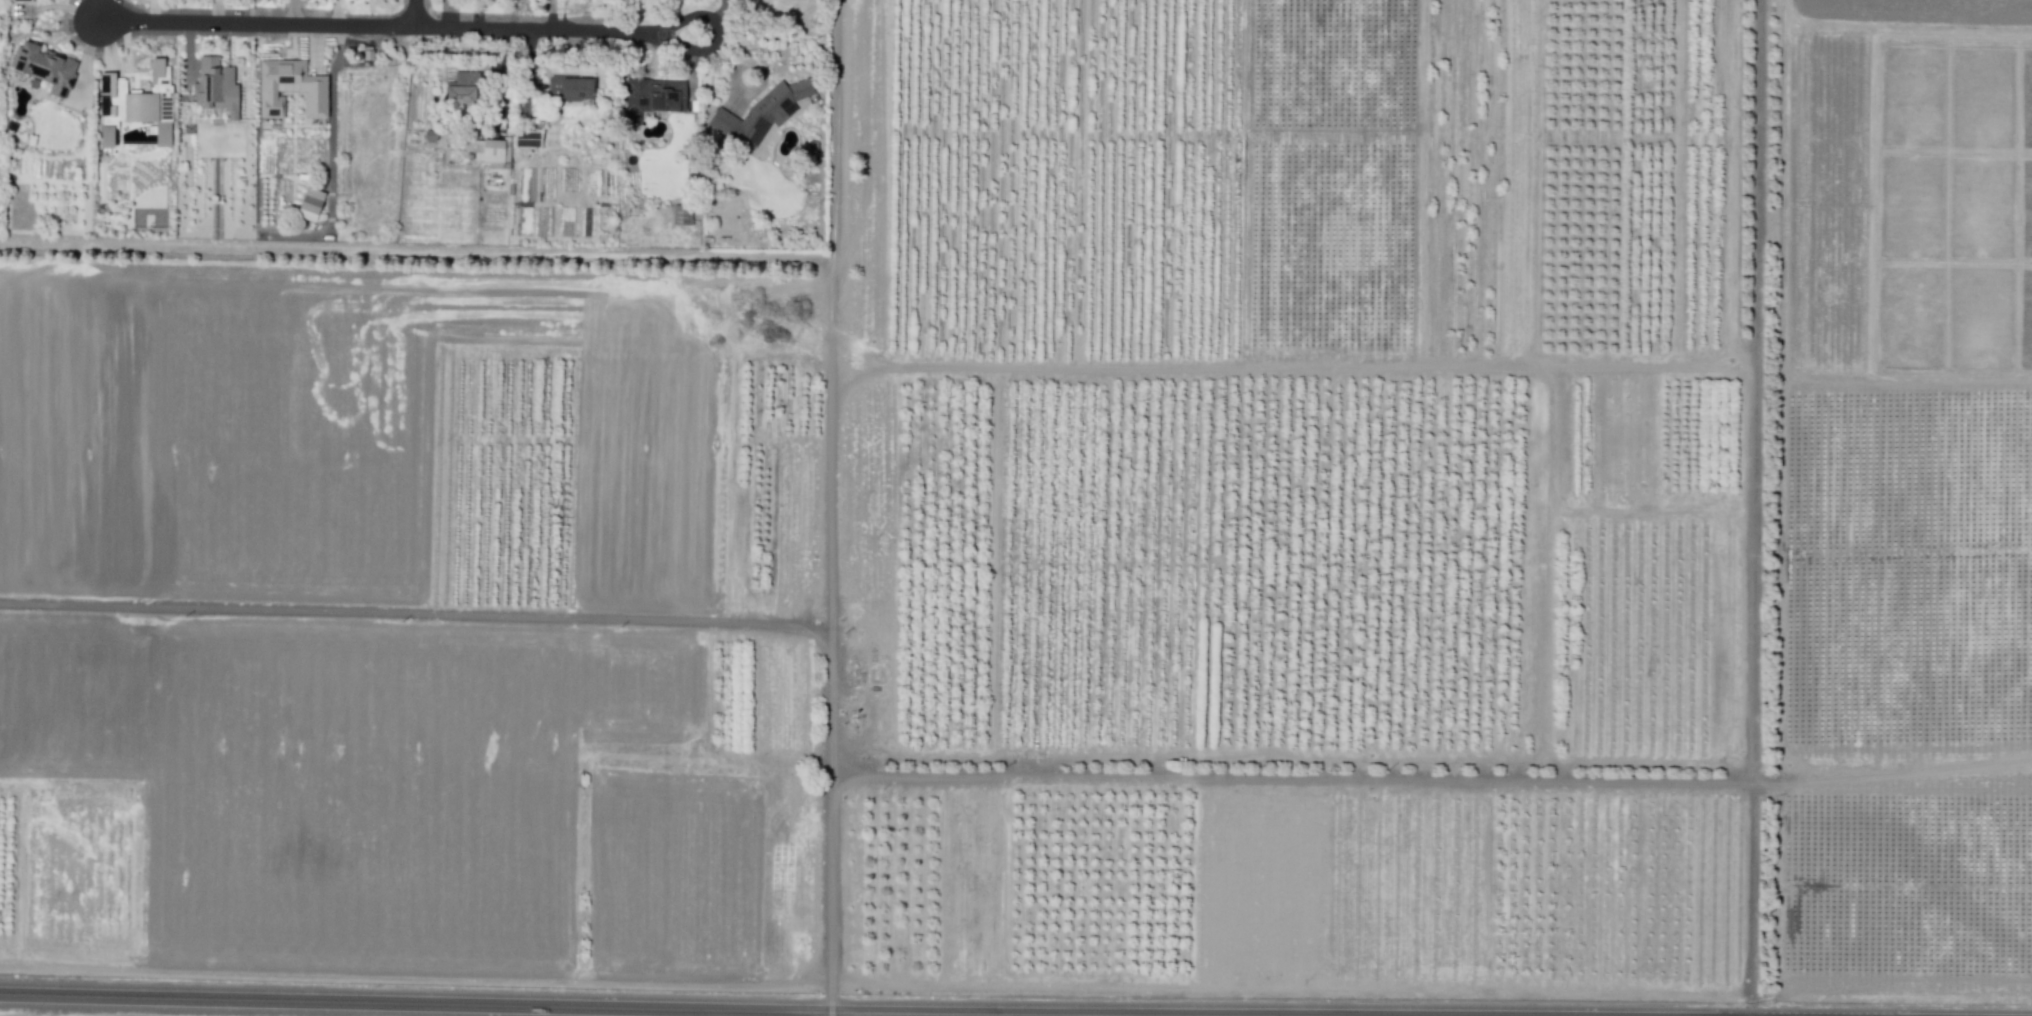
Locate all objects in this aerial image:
building: (22, 0)
road: (415, 13)
road: (256, 23)
road: (534, 29)
road: (717, 31)
building: (45, 66)
building: (215, 85)
building: (290, 87)
building: (462, 88)
building: (576, 90)
building: (652, 96)
building: (137, 103)
road: (331, 103)
building: (761, 111)
building: (525, 138)
building: (491, 151)
building: (310, 203)
building: (681, 214)
park: (725, 215)
road: (537, 331)
road: (1281, 369)
road: (1906, 383)
road: (1752, 507)
road: (1781, 508)
road: (415, 615)
road: (829, 678)
road: (1306, 780)
road: (661, 1004)
road: (830, 1012)

